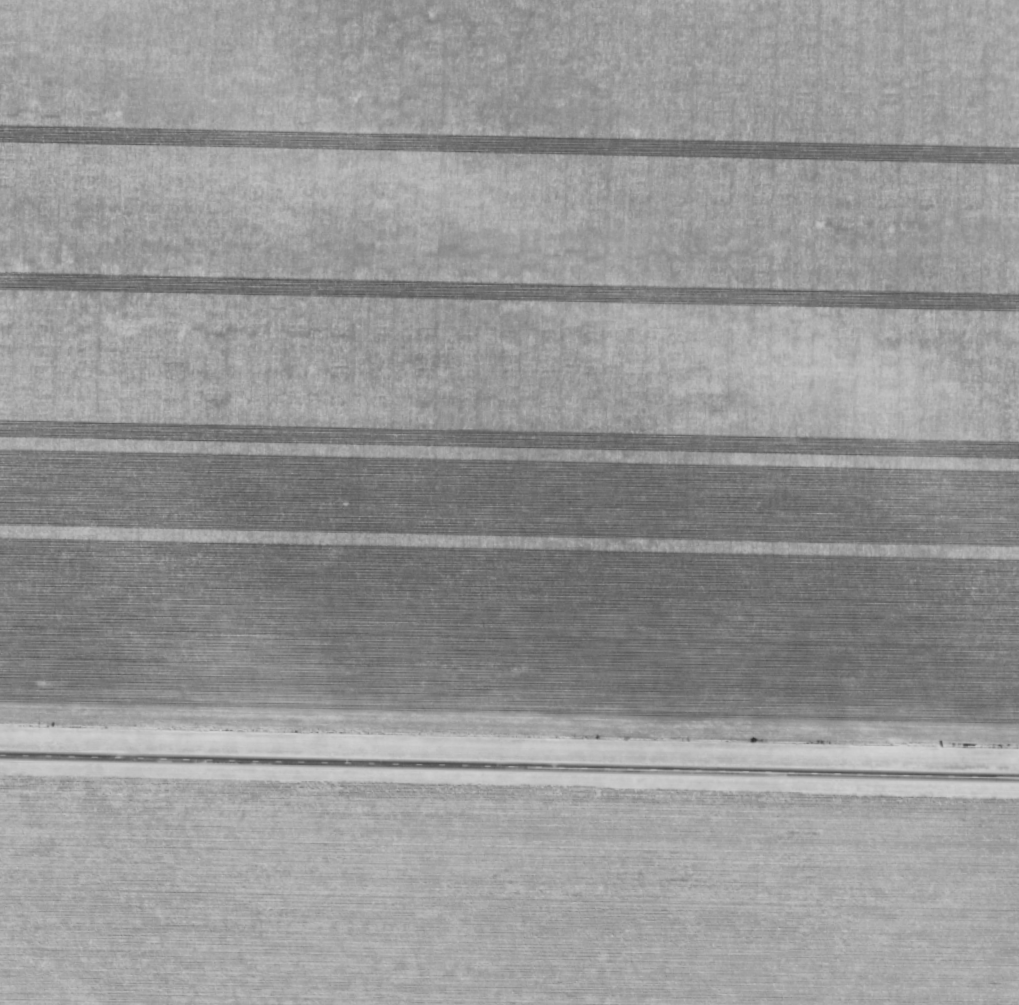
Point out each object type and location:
road: (509, 765)

